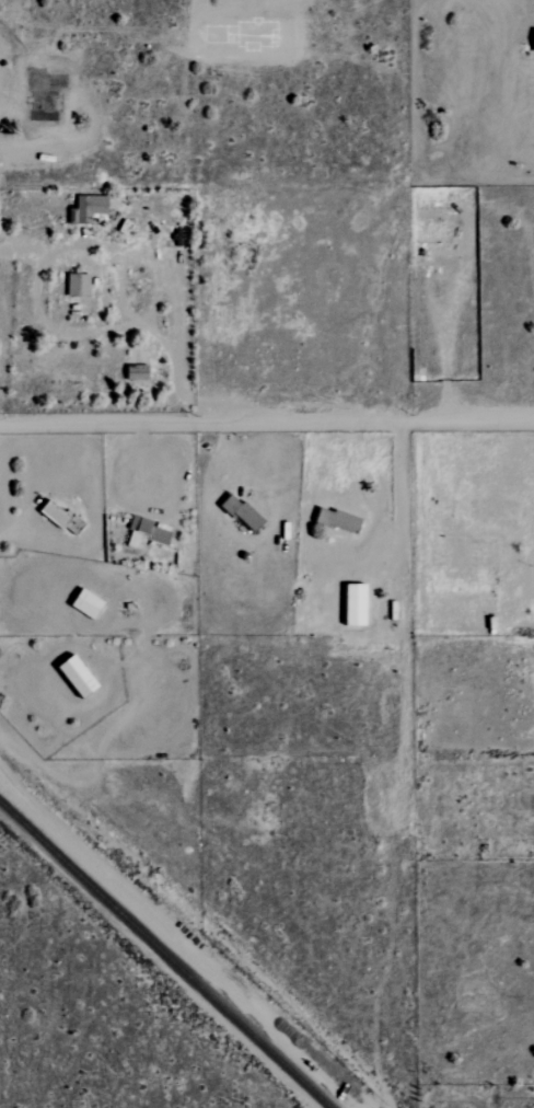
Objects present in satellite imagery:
building: (88, 208)
road: (169, 277)
building: (79, 285)
road: (448, 321)
building: (138, 372)
road: (267, 420)
road: (403, 493)
building: (242, 511)
building: (56, 515)
building: (146, 534)
building: (89, 603)
building: (357, 604)
building: (79, 676)
railway: (165, 954)

